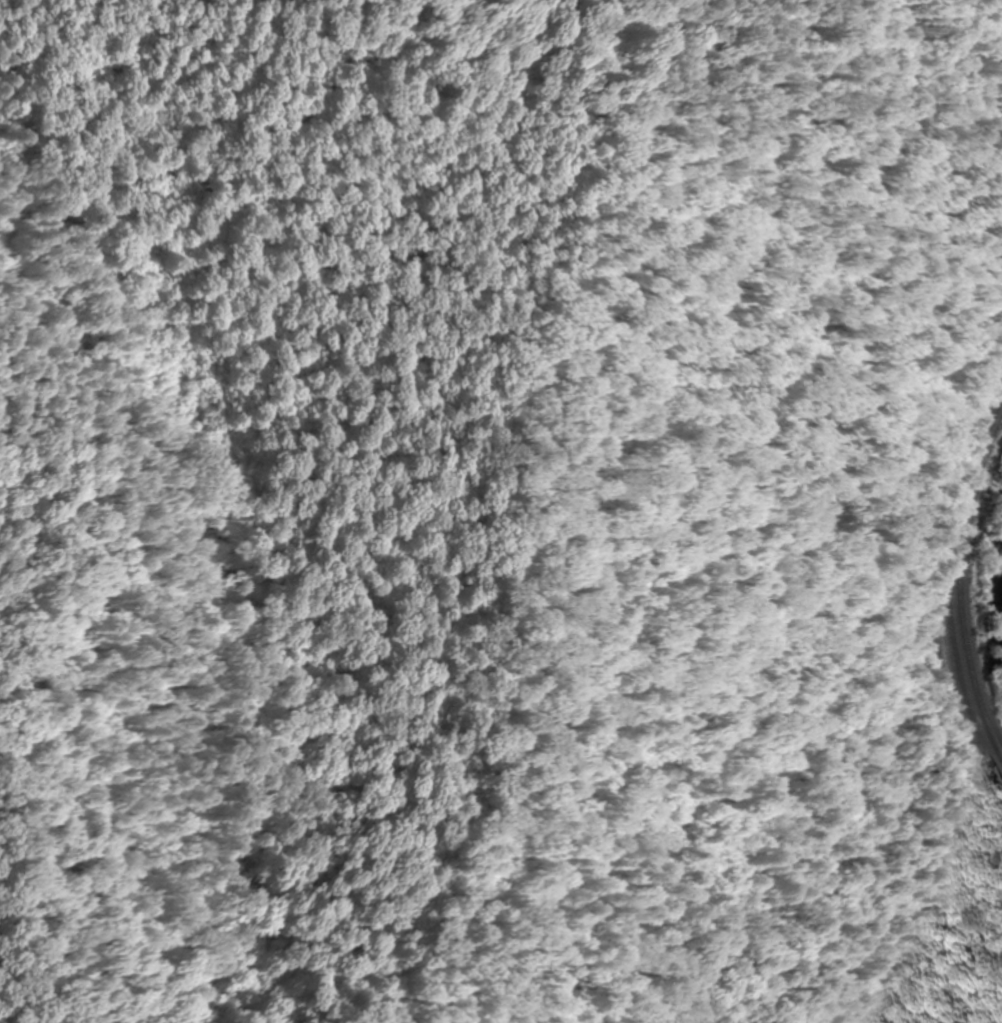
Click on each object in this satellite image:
railway: (963, 573)
river: (1000, 592)

